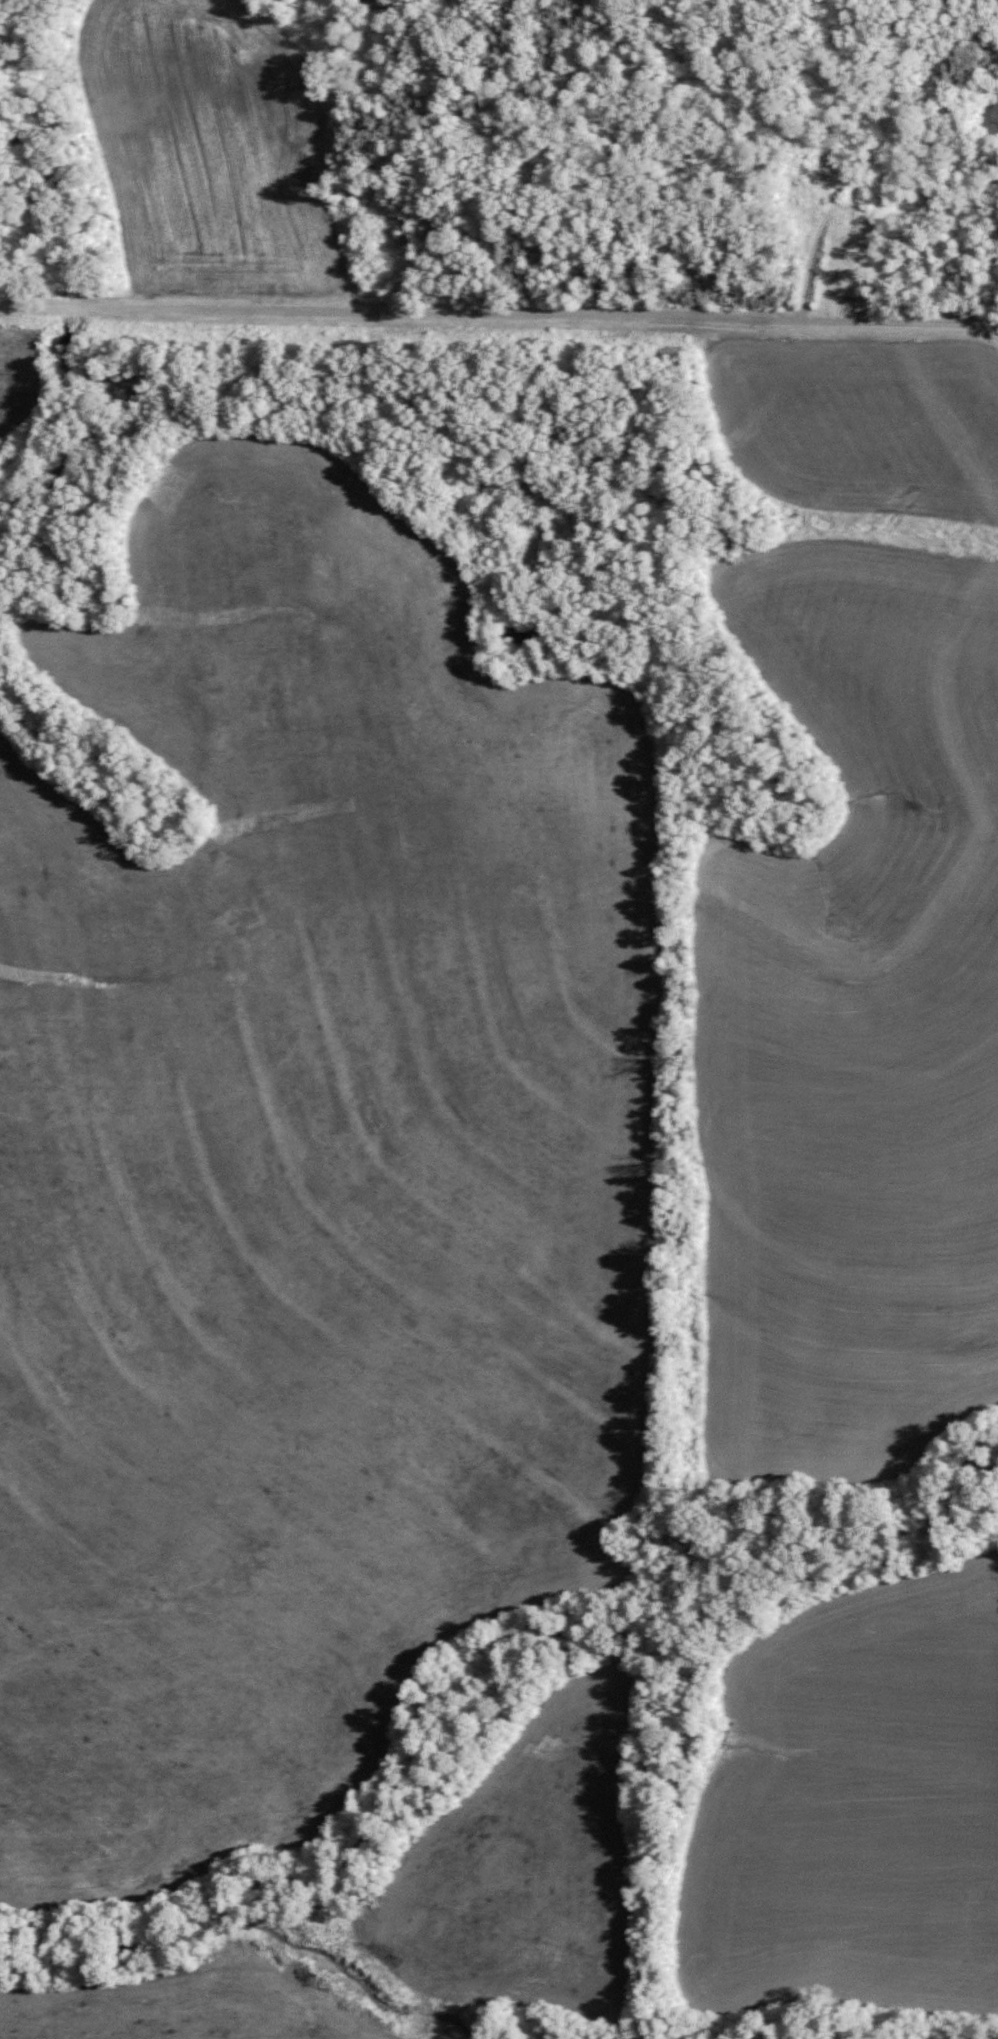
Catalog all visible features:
road: (476, 312)

